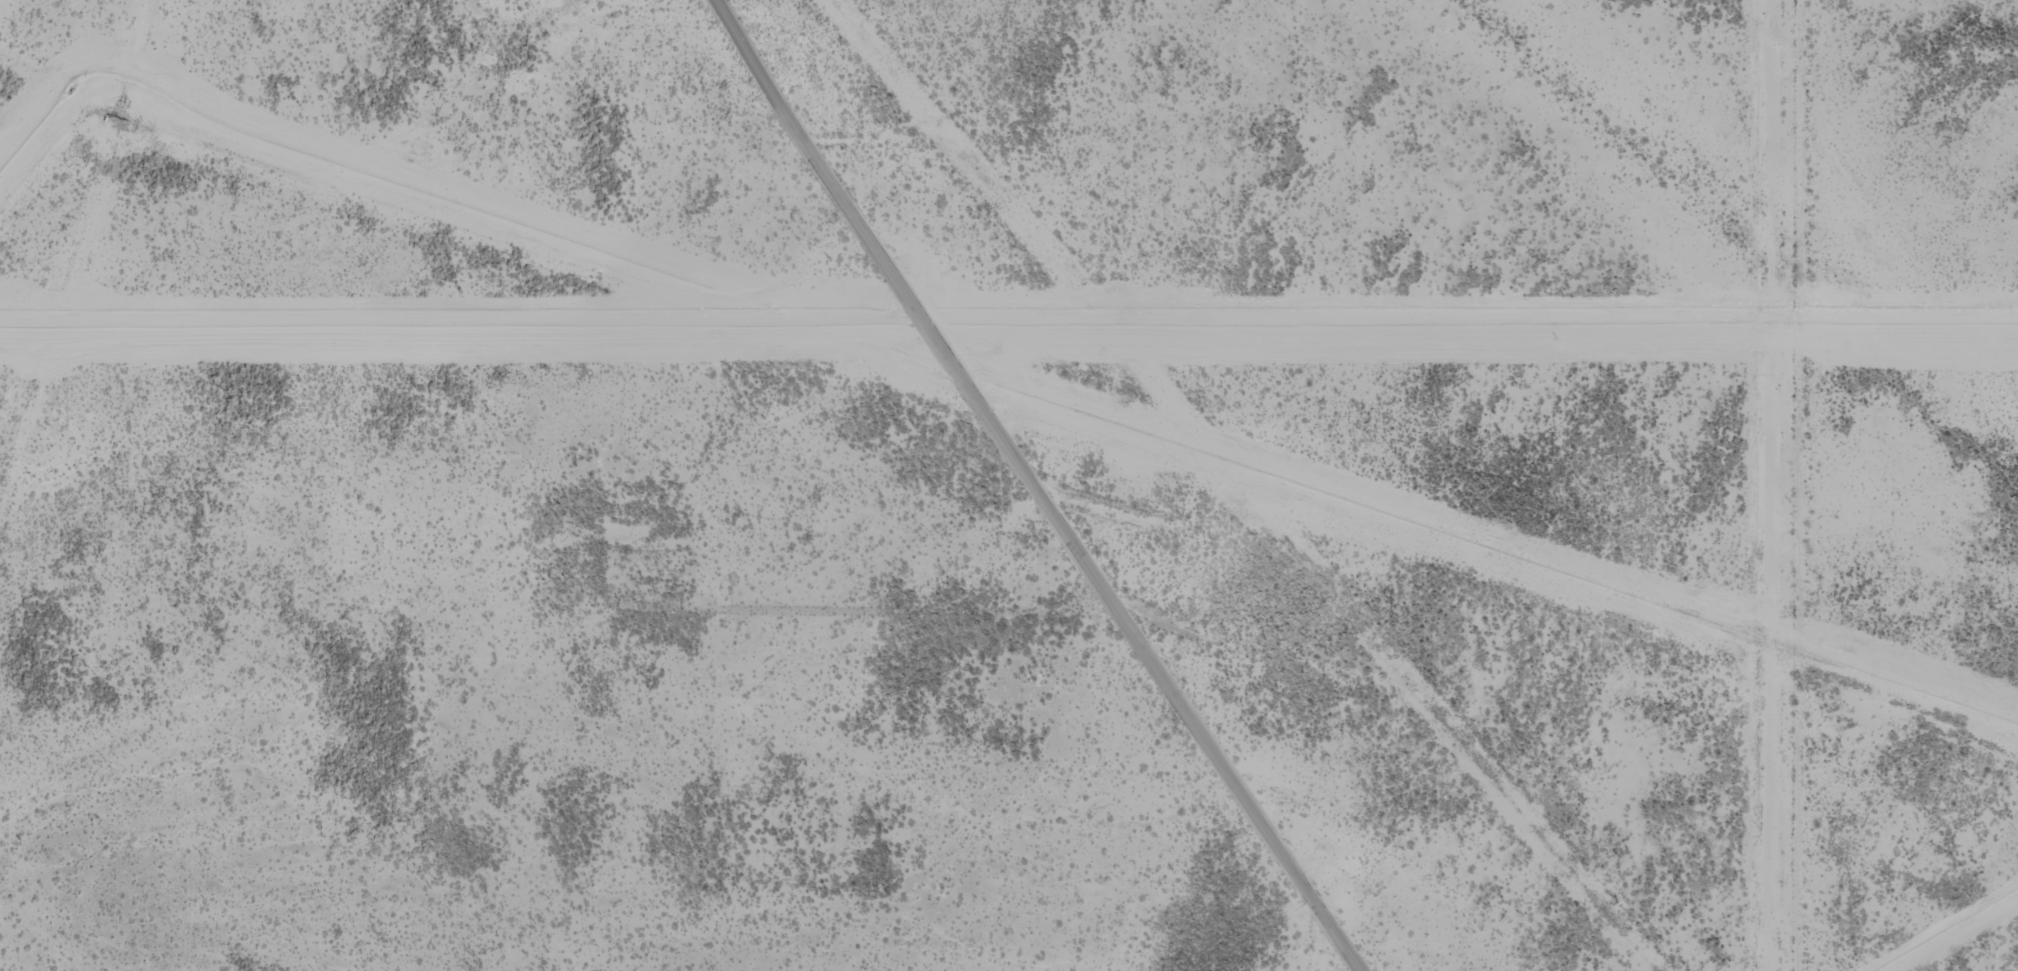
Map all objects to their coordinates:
road: (1030, 480)
road: (1796, 485)

